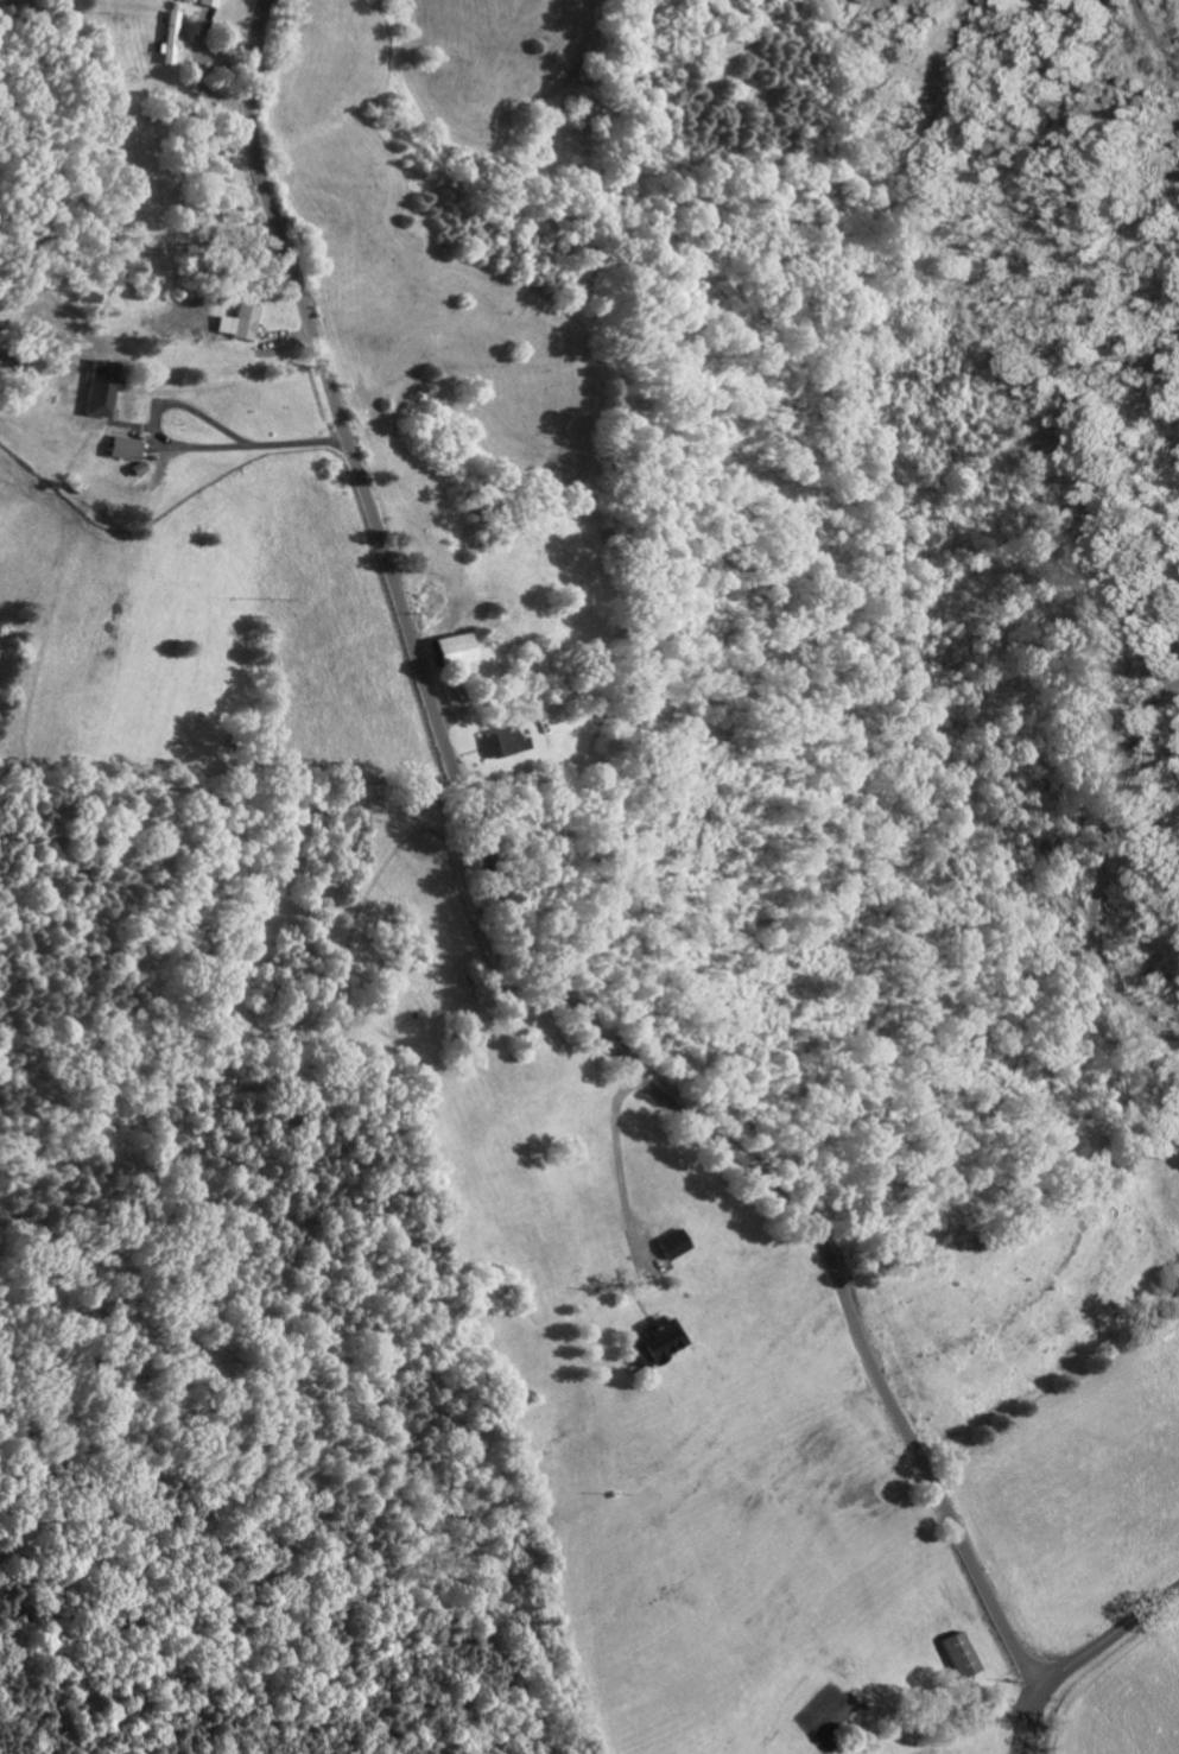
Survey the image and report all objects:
building: (211, 2)
building: (171, 38)
building: (100, 395)
road: (237, 445)
building: (127, 448)
building: (455, 647)
building: (452, 690)
building: (502, 741)
road: (1102, 872)
road: (501, 918)
road: (616, 1163)
building: (663, 1338)
road: (1109, 1635)
building: (968, 1653)
road: (1028, 1720)
road: (1028, 1747)

